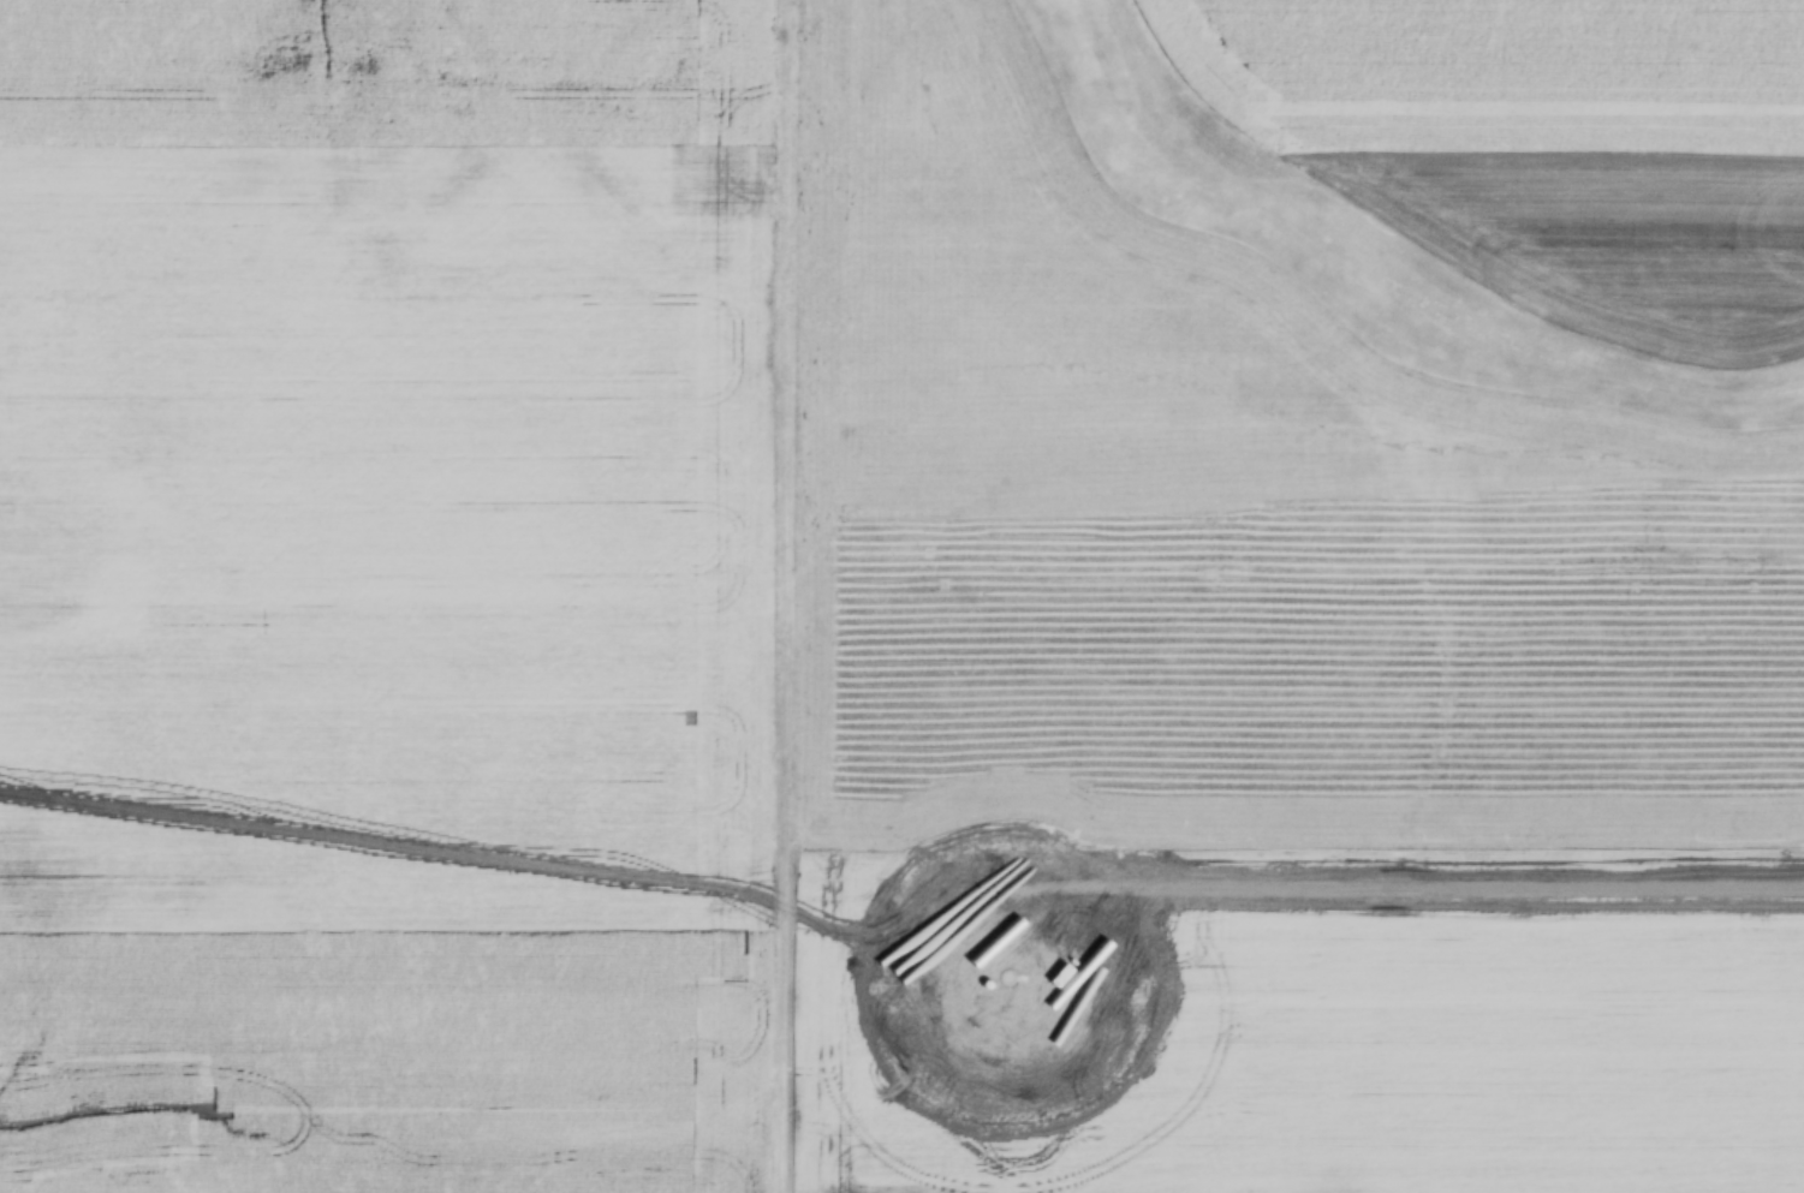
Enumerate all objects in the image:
wind turbine: (998, 991)

